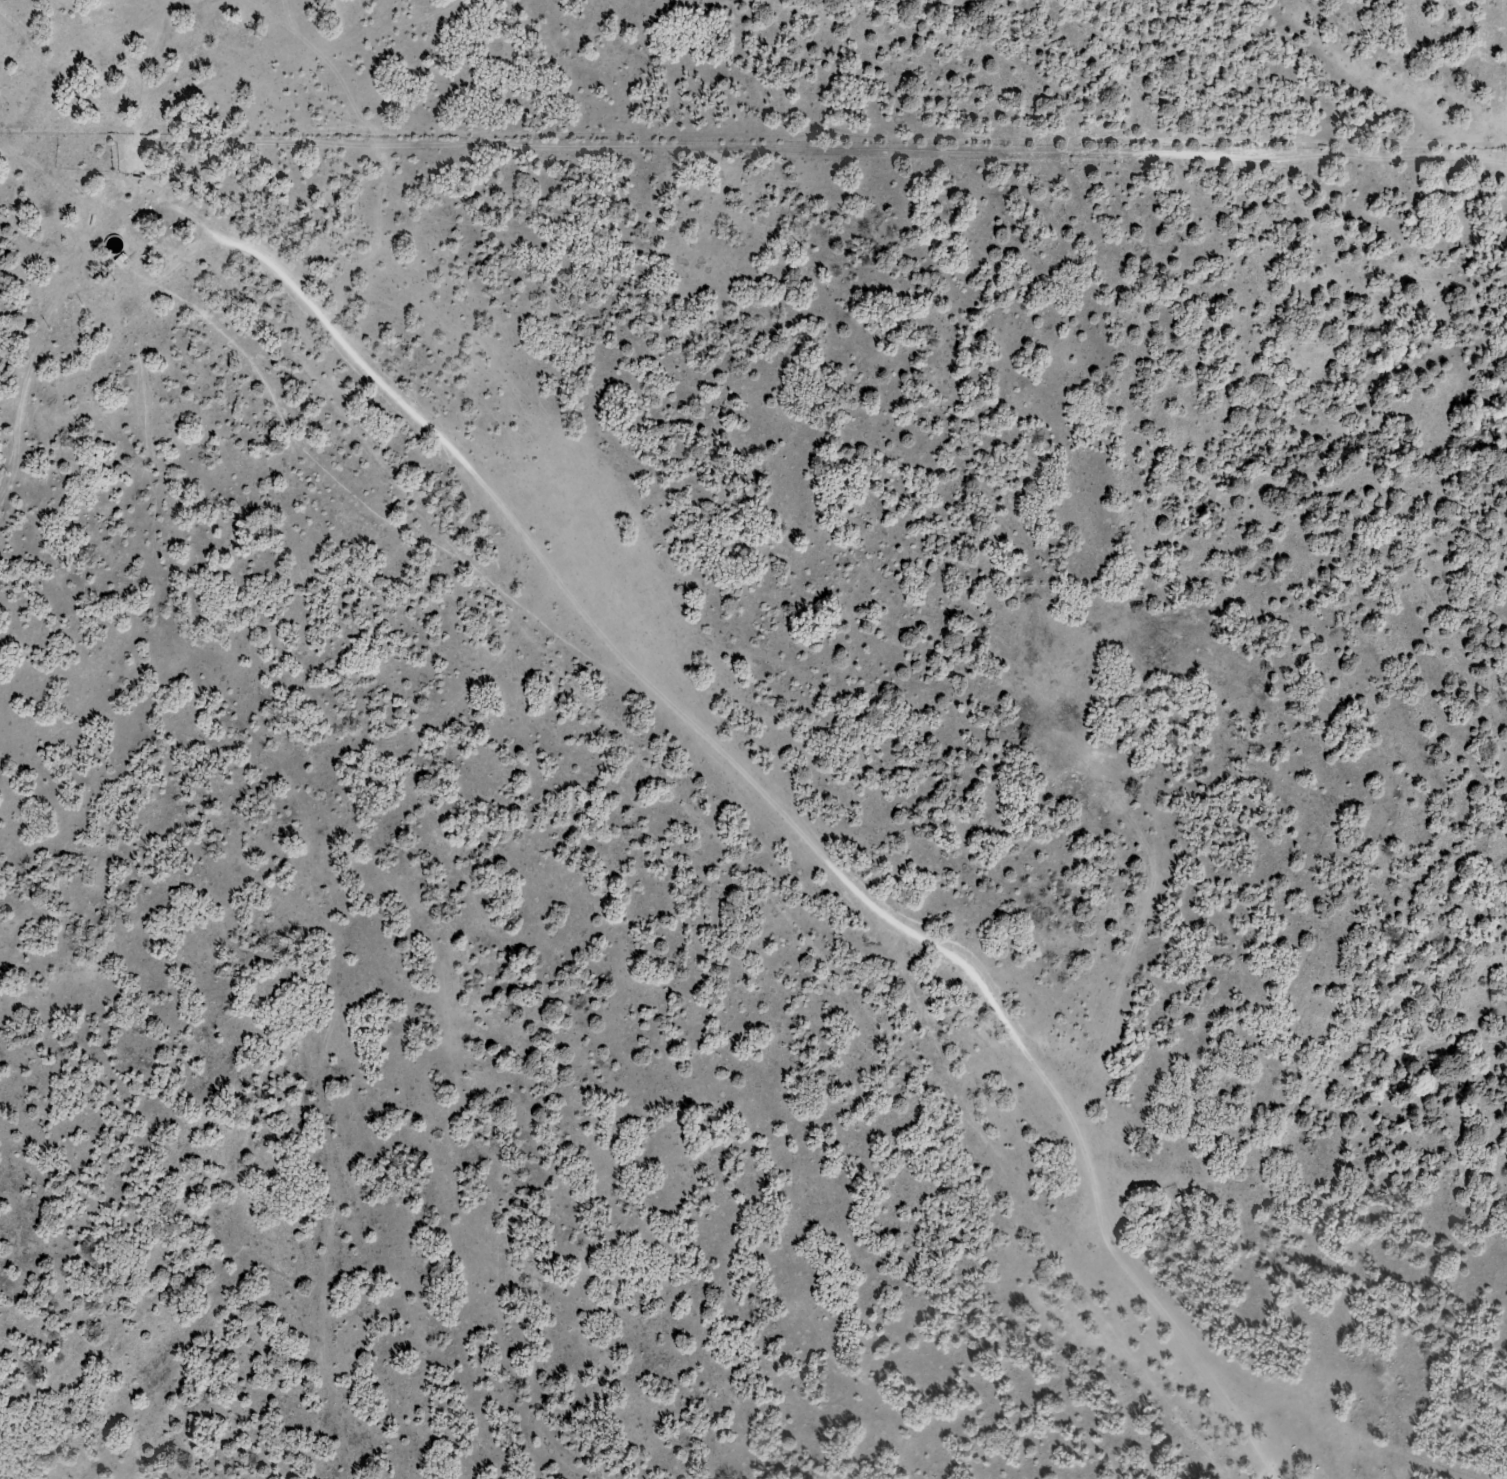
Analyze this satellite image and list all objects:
road: (116, 36)
road: (611, 135)
road: (841, 842)

